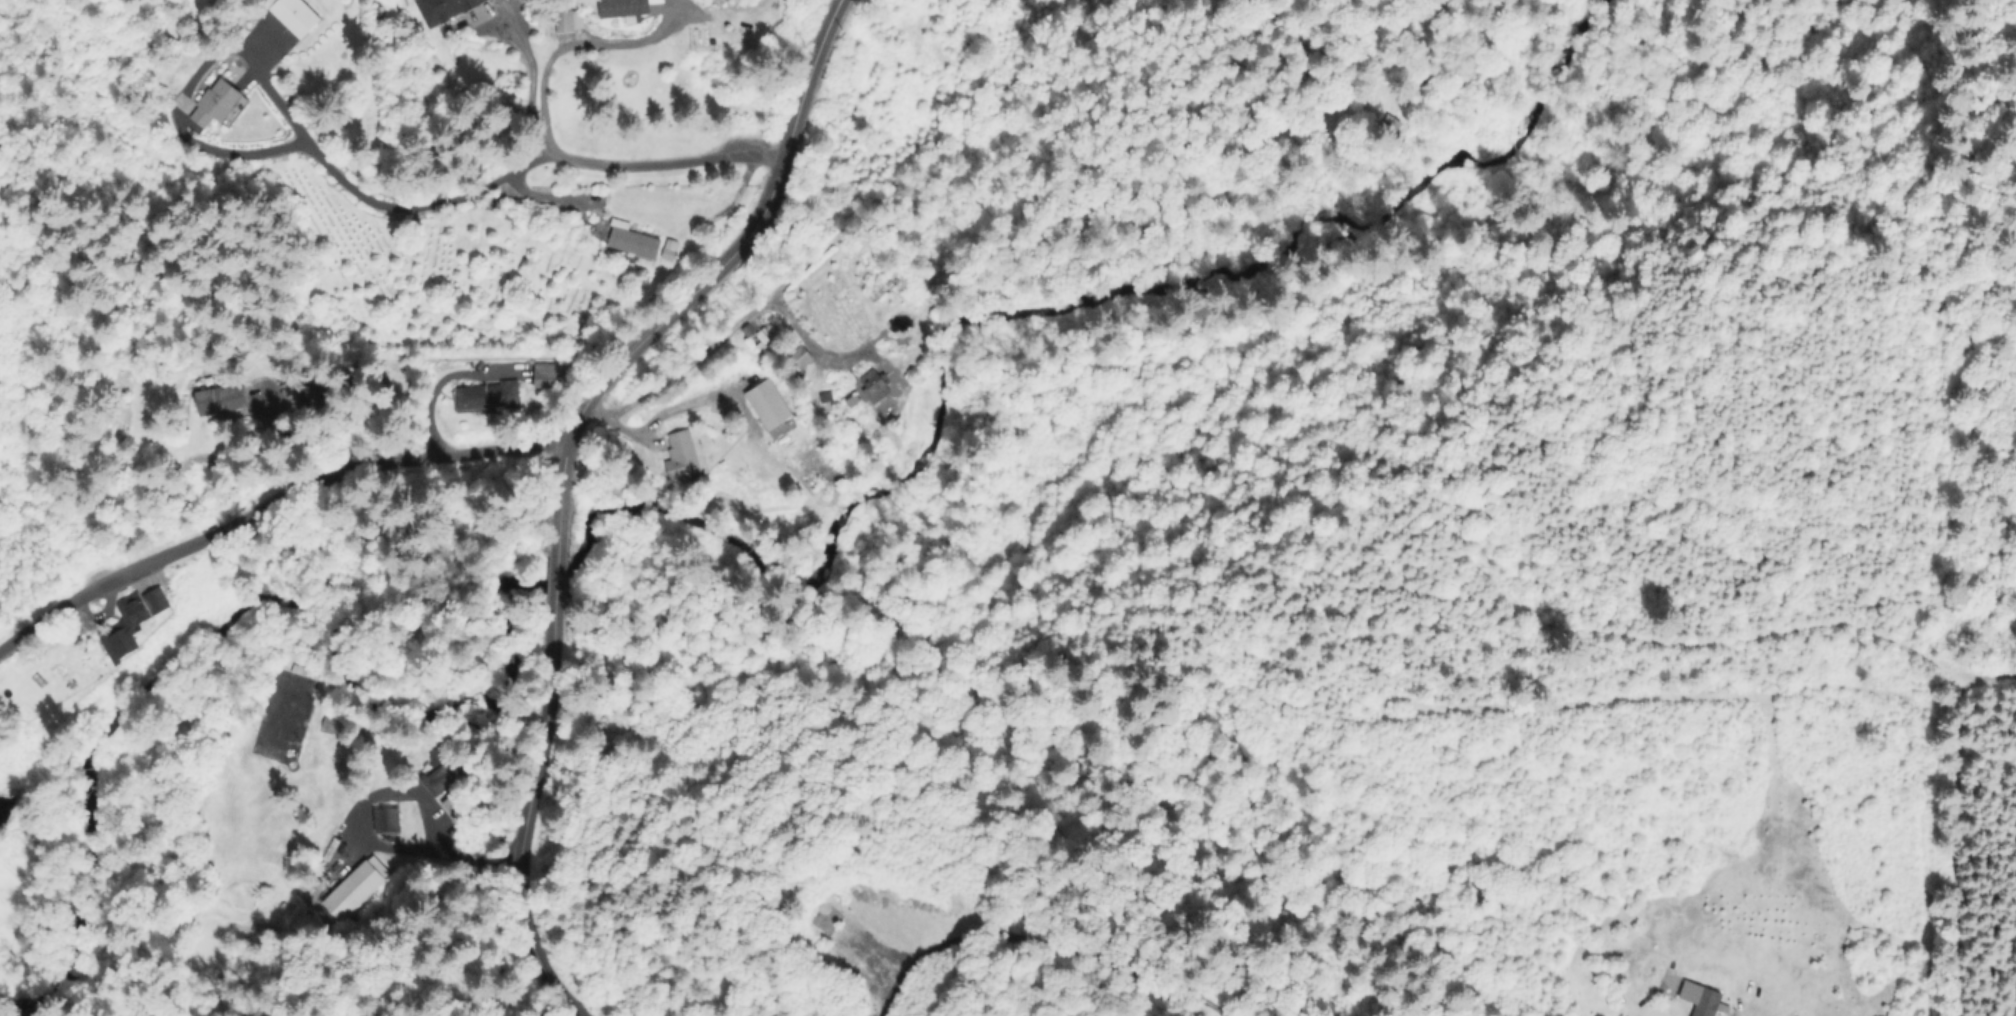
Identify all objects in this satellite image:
building: (624, 8)
building: (443, 9)
building: (296, 16)
building: (567, 19)
road: (570, 42)
road: (264, 85)
road: (527, 88)
road: (1002, 100)
building: (216, 104)
road: (643, 163)
building: (602, 201)
building: (634, 240)
road: (809, 333)
road: (719, 340)
building: (794, 353)
building: (535, 368)
building: (559, 371)
road: (427, 390)
building: (320, 397)
building: (490, 398)
building: (222, 399)
building: (770, 404)
building: (683, 456)
road: (565, 474)
road: (271, 502)
building: (131, 624)
building: (440, 773)
road: (505, 784)
road: (413, 793)
building: (455, 809)
building: (384, 821)
building: (826, 922)
building: (1708, 1003)

